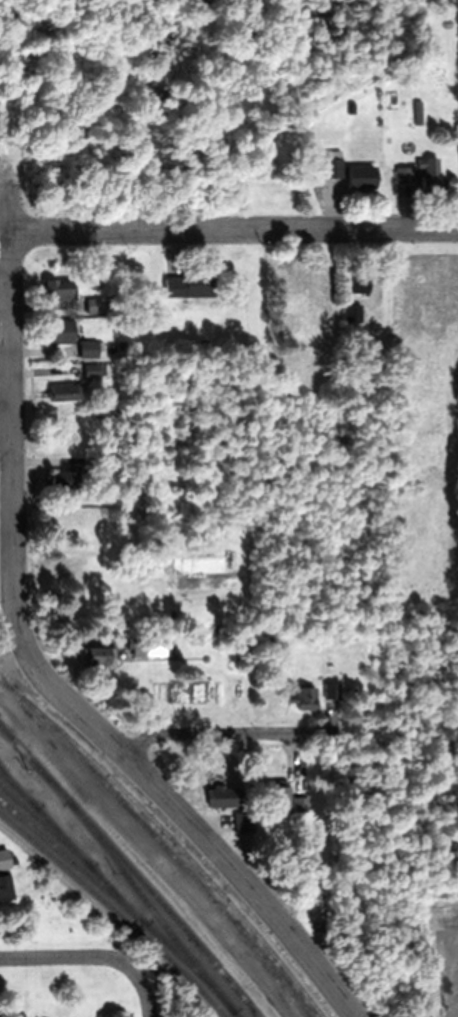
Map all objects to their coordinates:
building: (330, 167)
building: (427, 173)
building: (403, 174)
building: (360, 176)
road: (232, 227)
building: (356, 283)
building: (186, 285)
building: (58, 289)
building: (95, 306)
building: (353, 313)
building: (58, 331)
building: (88, 348)
building: (65, 391)
road: (10, 413)
building: (108, 462)
building: (64, 484)
building: (140, 647)
road: (12, 655)
building: (98, 655)
building: (304, 698)
road: (207, 731)
road: (19, 747)
railway: (19, 788)
building: (251, 803)
building: (299, 804)
railway: (45, 824)
road: (195, 827)
railway: (170, 838)
railway: (72, 845)
railway: (171, 852)
road: (145, 853)
building: (4, 859)
railway: (131, 869)
building: (5, 887)
railway: (122, 904)
railway: (153, 910)
railway: (115, 912)
road: (67, 956)
road: (144, 991)

